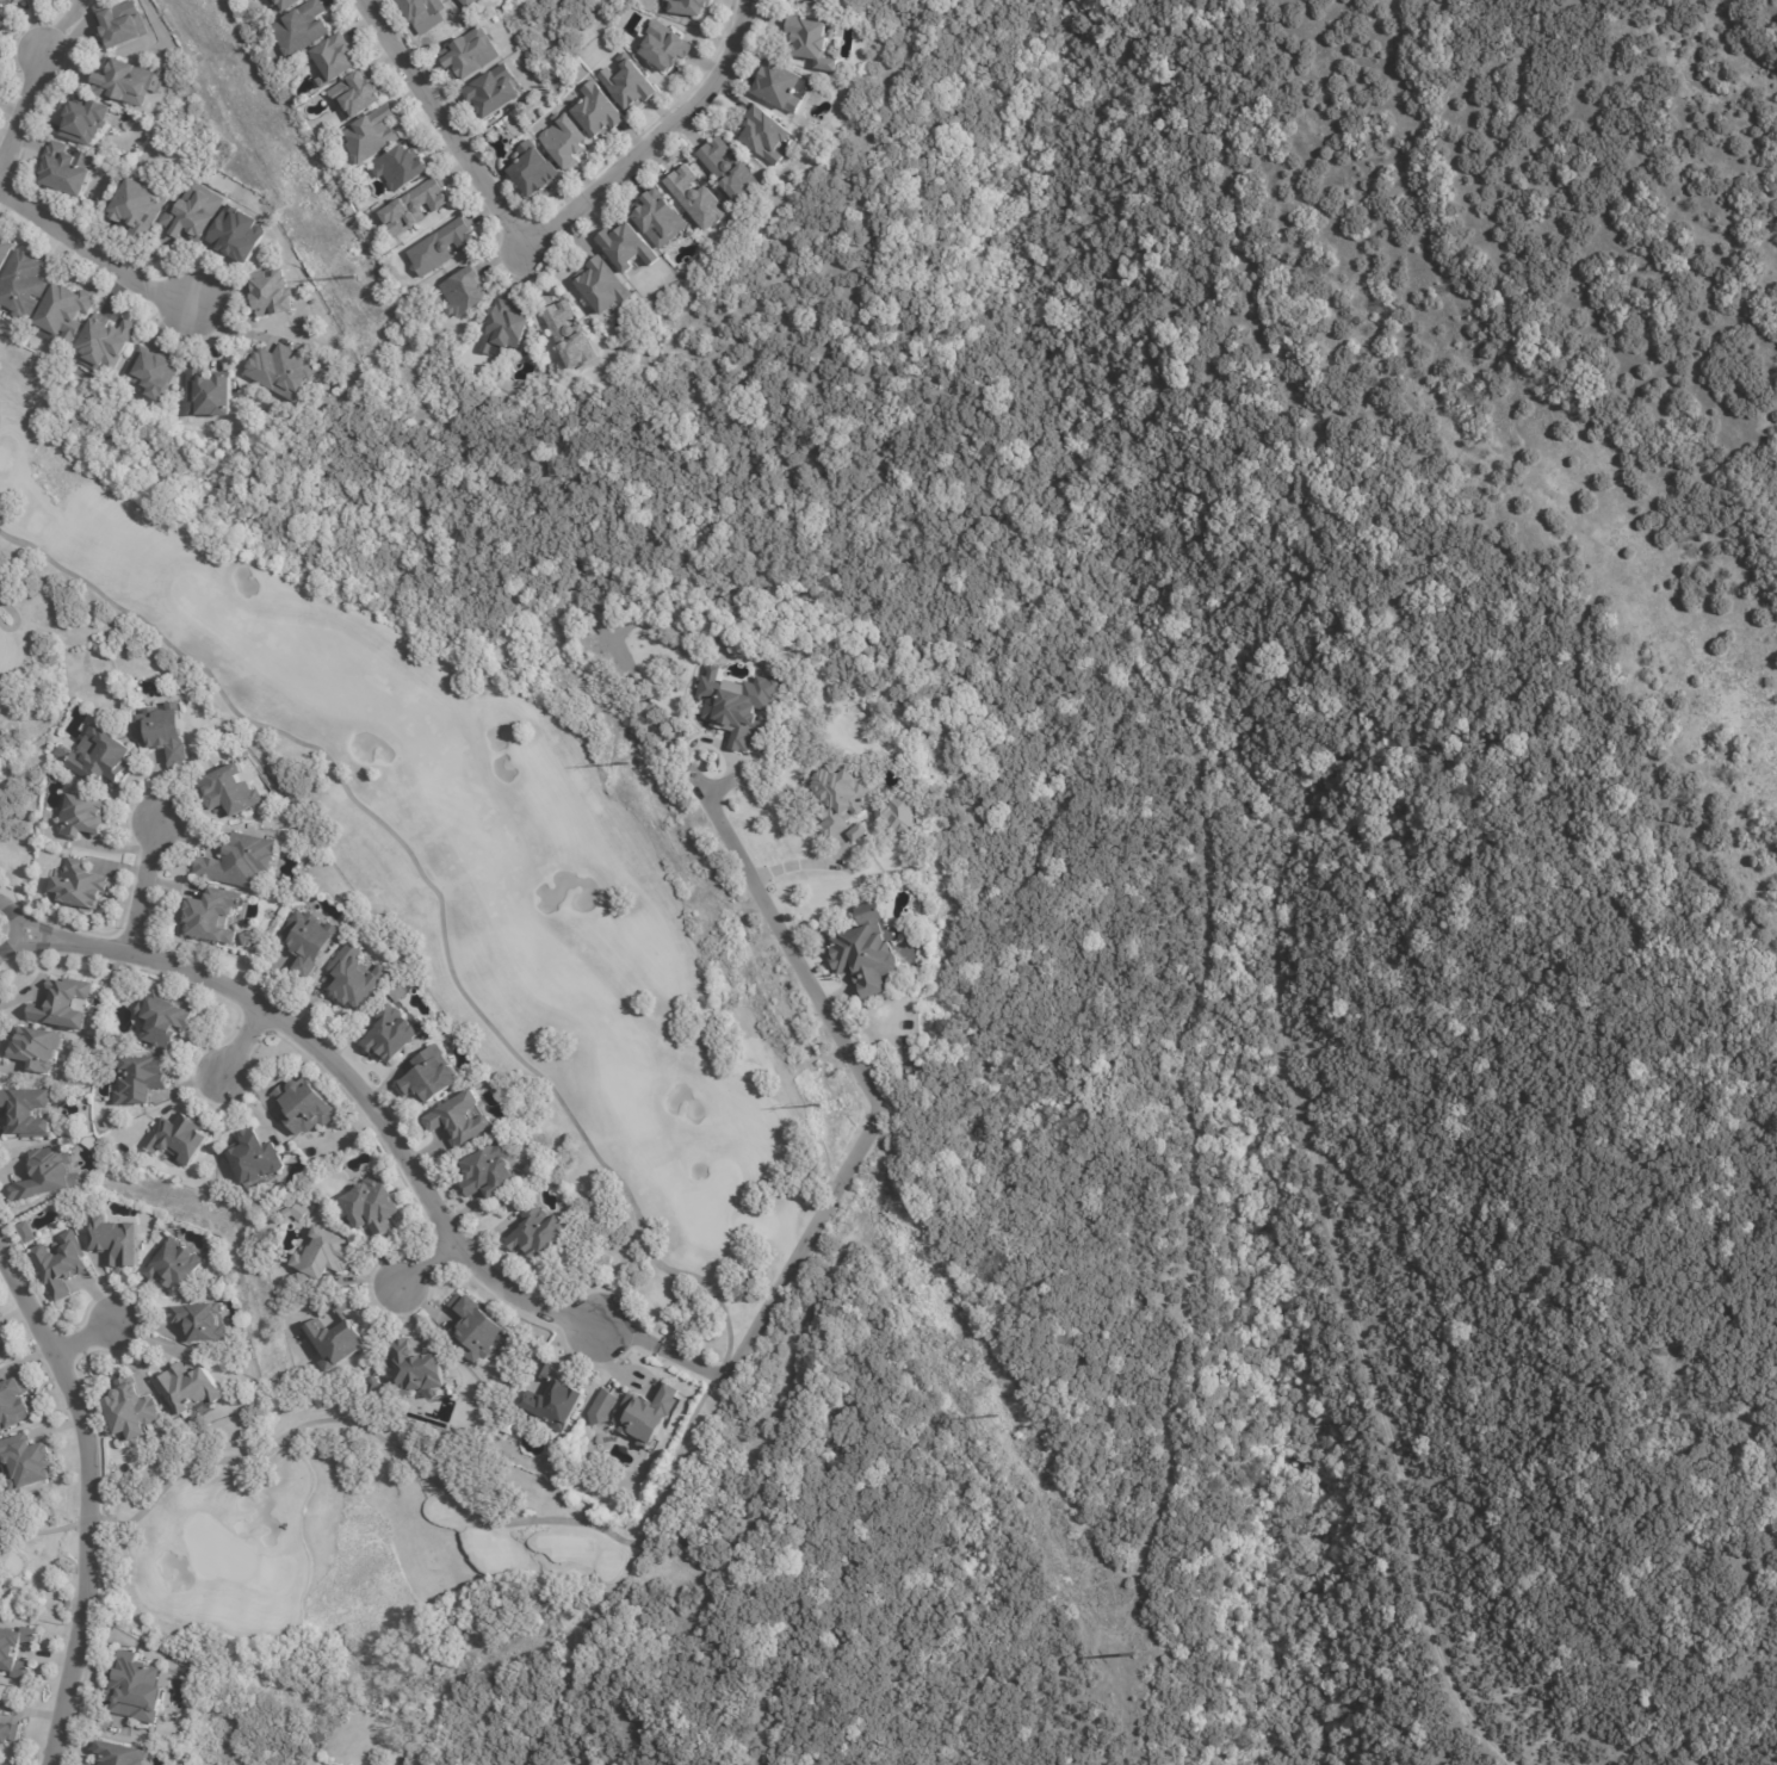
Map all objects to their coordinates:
building: (89, 0)
building: (6, 2)
building: (811, 2)
building: (470, 4)
building: (291, 5)
building: (689, 8)
building: (422, 10)
building: (122, 25)
building: (303, 31)
building: (813, 45)
building: (665, 49)
building: (472, 56)
building: (335, 62)
building: (124, 85)
building: (630, 86)
building: (780, 88)
building: (494, 93)
building: (357, 98)
building: (600, 113)
road: (19, 118)
building: (85, 124)
building: (373, 137)
building: (768, 137)
building: (565, 142)
building: (402, 171)
building: (68, 172)
building: (534, 173)
building: (731, 173)
building: (696, 199)
building: (416, 210)
building: (138, 212)
building: (193, 215)
building: (661, 223)
building: (239, 237)
road: (538, 240)
building: (441, 249)
building: (627, 249)
building: (5, 253)
road: (99, 272)
power tower: (349, 277)
building: (23, 289)
building: (603, 289)
building: (464, 293)
building: (272, 296)
building: (66, 316)
building: (506, 330)
building: (571, 339)
building: (107, 346)
building: (283, 374)
building: (151, 377)
building: (208, 398)
building: (741, 707)
building: (166, 730)
building: (101, 755)
power tower: (625, 762)
building: (230, 789)
building: (842, 797)
building: (886, 811)
building: (81, 815)
building: (860, 830)
park: (447, 848)
building: (240, 861)
building: (81, 885)
road: (141, 890)
building: (212, 915)
road: (14, 930)
building: (309, 939)
building: (868, 950)
building: (118, 966)
building: (354, 977)
building: (398, 995)
building: (64, 1003)
building: (162, 1018)
building: (391, 1032)
building: (37, 1046)
road: (240, 1046)
building: (431, 1073)
building: (141, 1079)
power tower: (818, 1104)
building: (304, 1106)
building: (27, 1110)
building: (464, 1119)
building: (178, 1138)
building: (255, 1156)
building: (491, 1170)
building: (48, 1175)
building: (373, 1203)
building: (297, 1210)
building: (538, 1232)
building: (116, 1240)
building: (324, 1255)
building: (61, 1263)
building: (174, 1267)
road: (427, 1267)
building: (200, 1320)
building: (477, 1329)
road: (86, 1337)
building: (336, 1338)
building: (2, 1344)
road: (651, 1346)
building: (417, 1369)
building: (190, 1387)
building: (382, 1391)
building: (557, 1400)
building: (13, 1402)
building: (603, 1407)
building: (132, 1411)
building: (649, 1416)
power tower: (993, 1416)
building: (26, 1462)
road: (88, 1498)
park: (329, 1547)
building: (7, 1652)
power tower: (1131, 1654)
building: (135, 1690)
building: (8, 1734)
building: (120, 1754)
building: (89, 1764)

